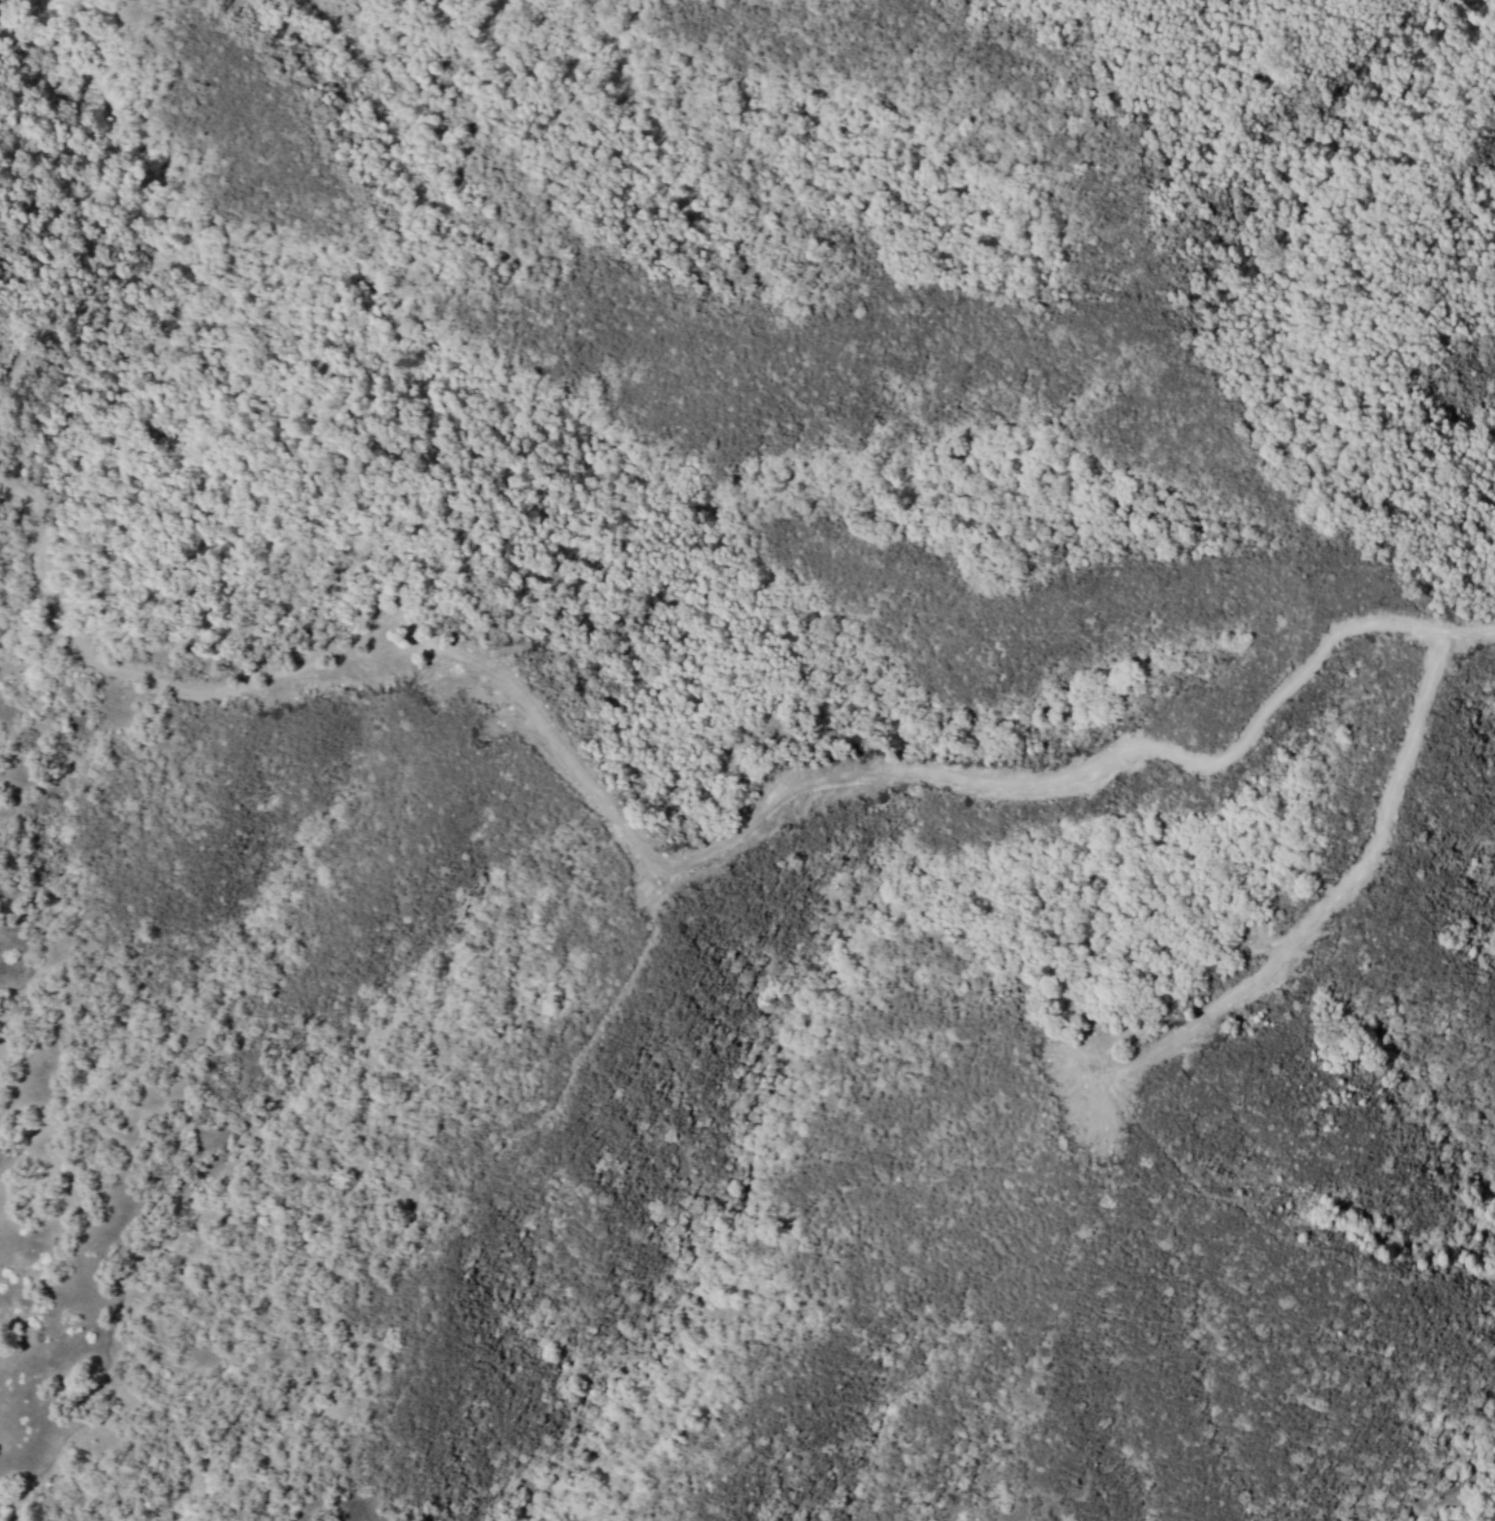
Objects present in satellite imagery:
road: (681, 870)
road: (624, 1001)
road: (1191, 1028)

